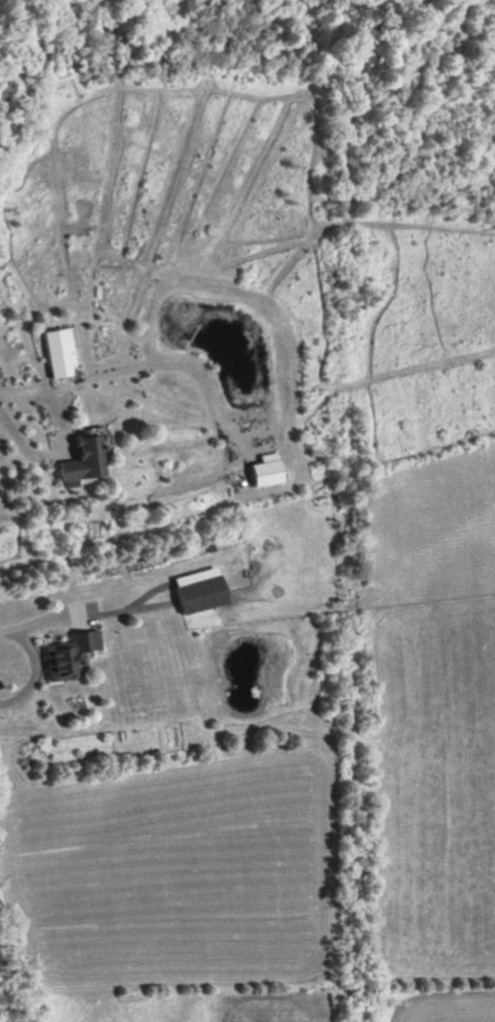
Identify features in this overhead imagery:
building: (59, 352)
road: (122, 371)
road: (49, 456)
building: (84, 458)
building: (265, 470)
crop: (432, 480)
building: (200, 594)
building: (68, 654)
road: (34, 668)

